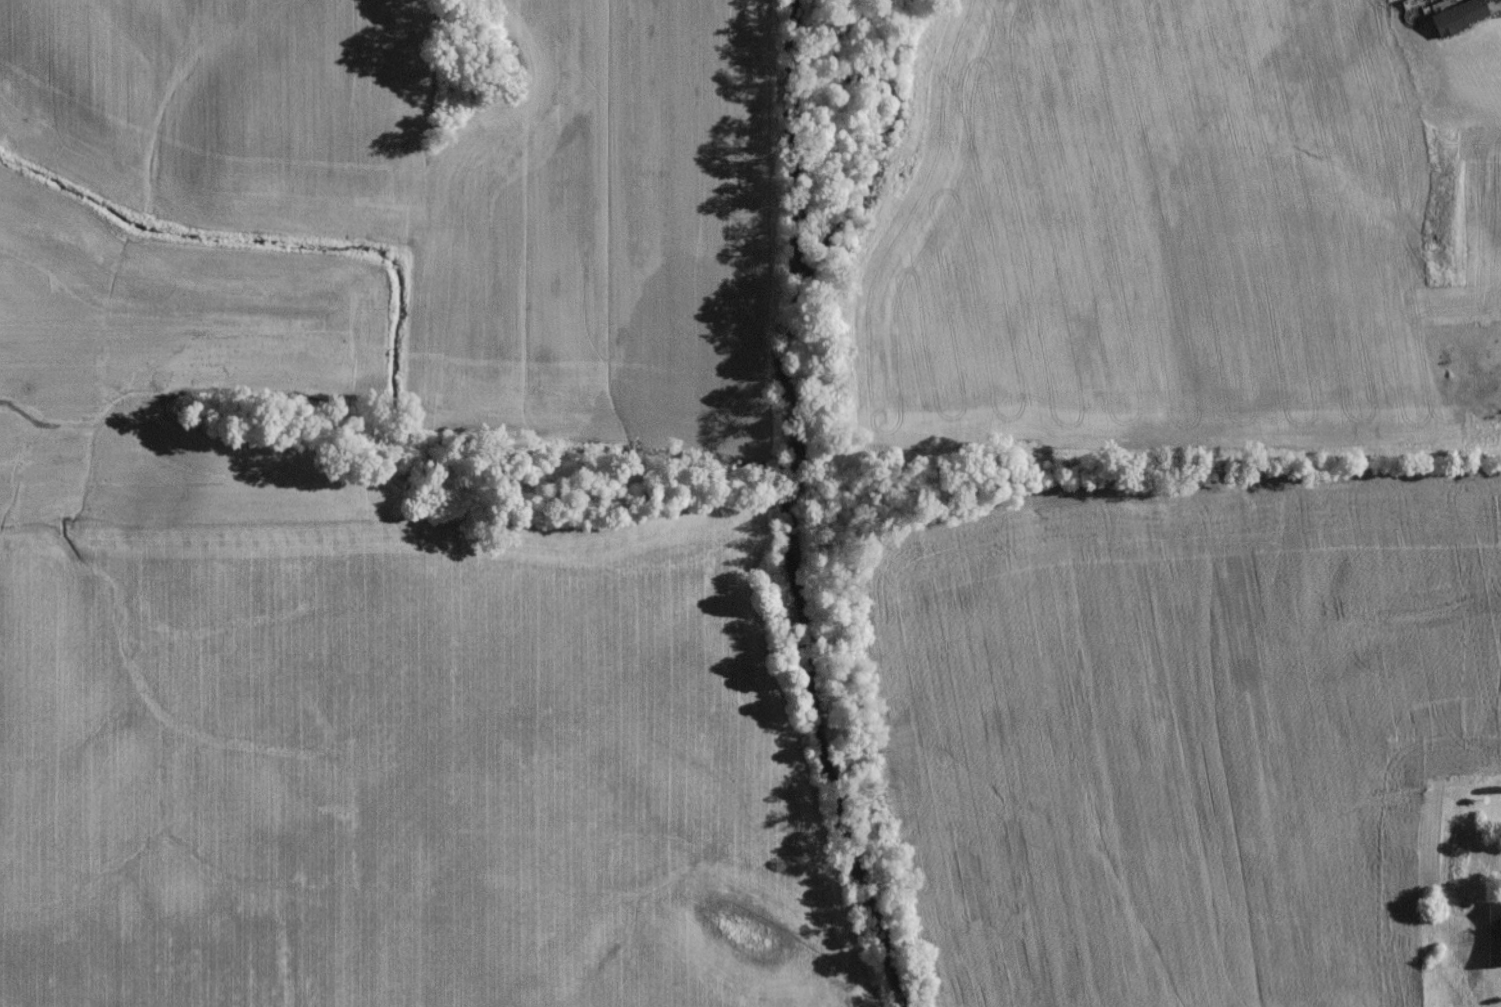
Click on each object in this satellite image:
building: (1499, 867)

